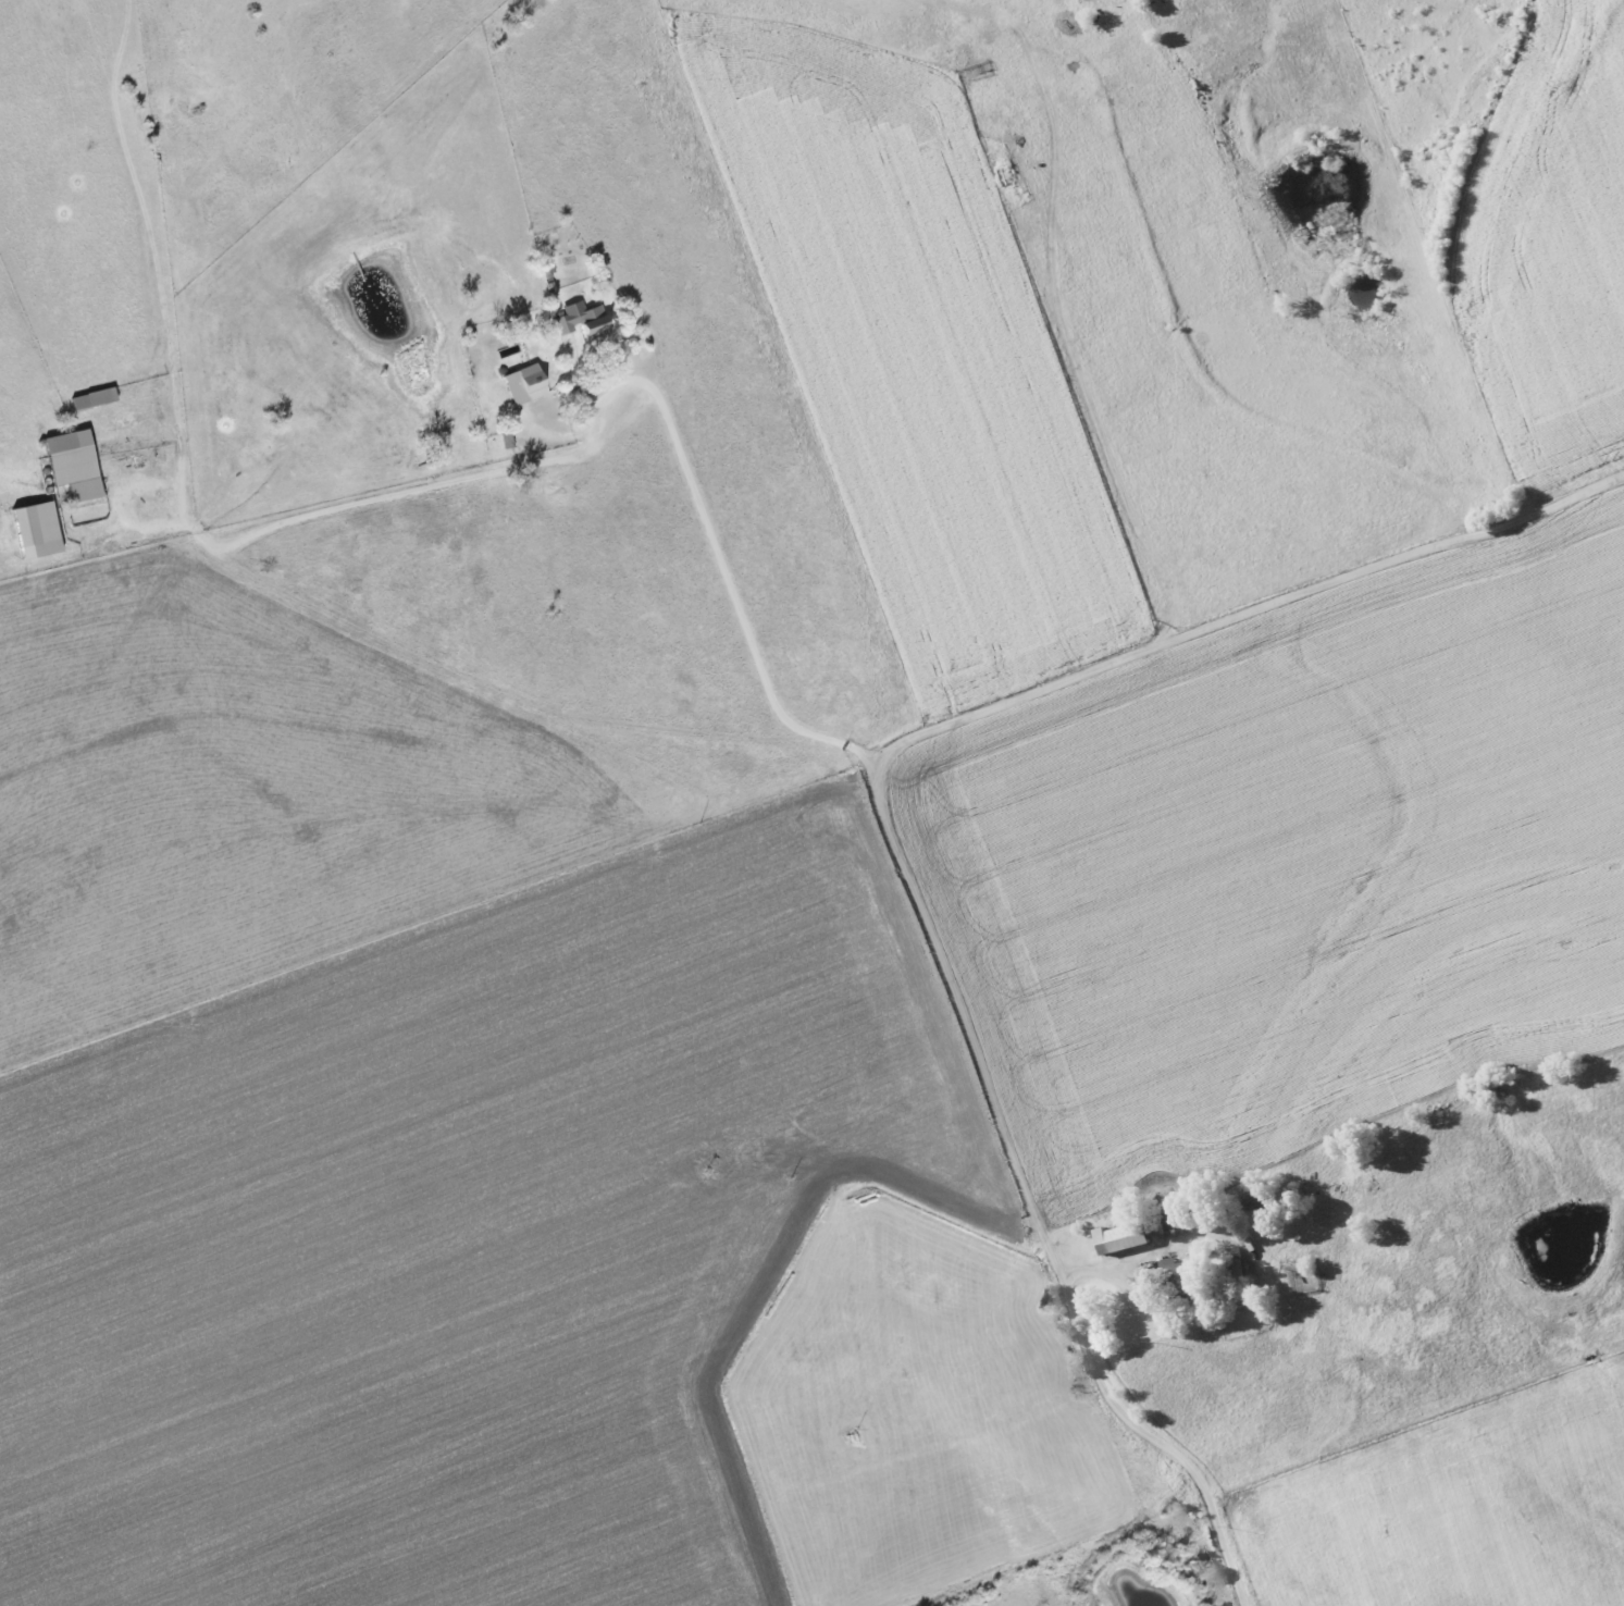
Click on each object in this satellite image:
building: (583, 320)
building: (526, 383)
building: (95, 398)
road: (600, 429)
building: (74, 464)
building: (38, 530)
road: (889, 826)
building: (1178, 1218)
building: (1126, 1237)
building: (1186, 1276)

